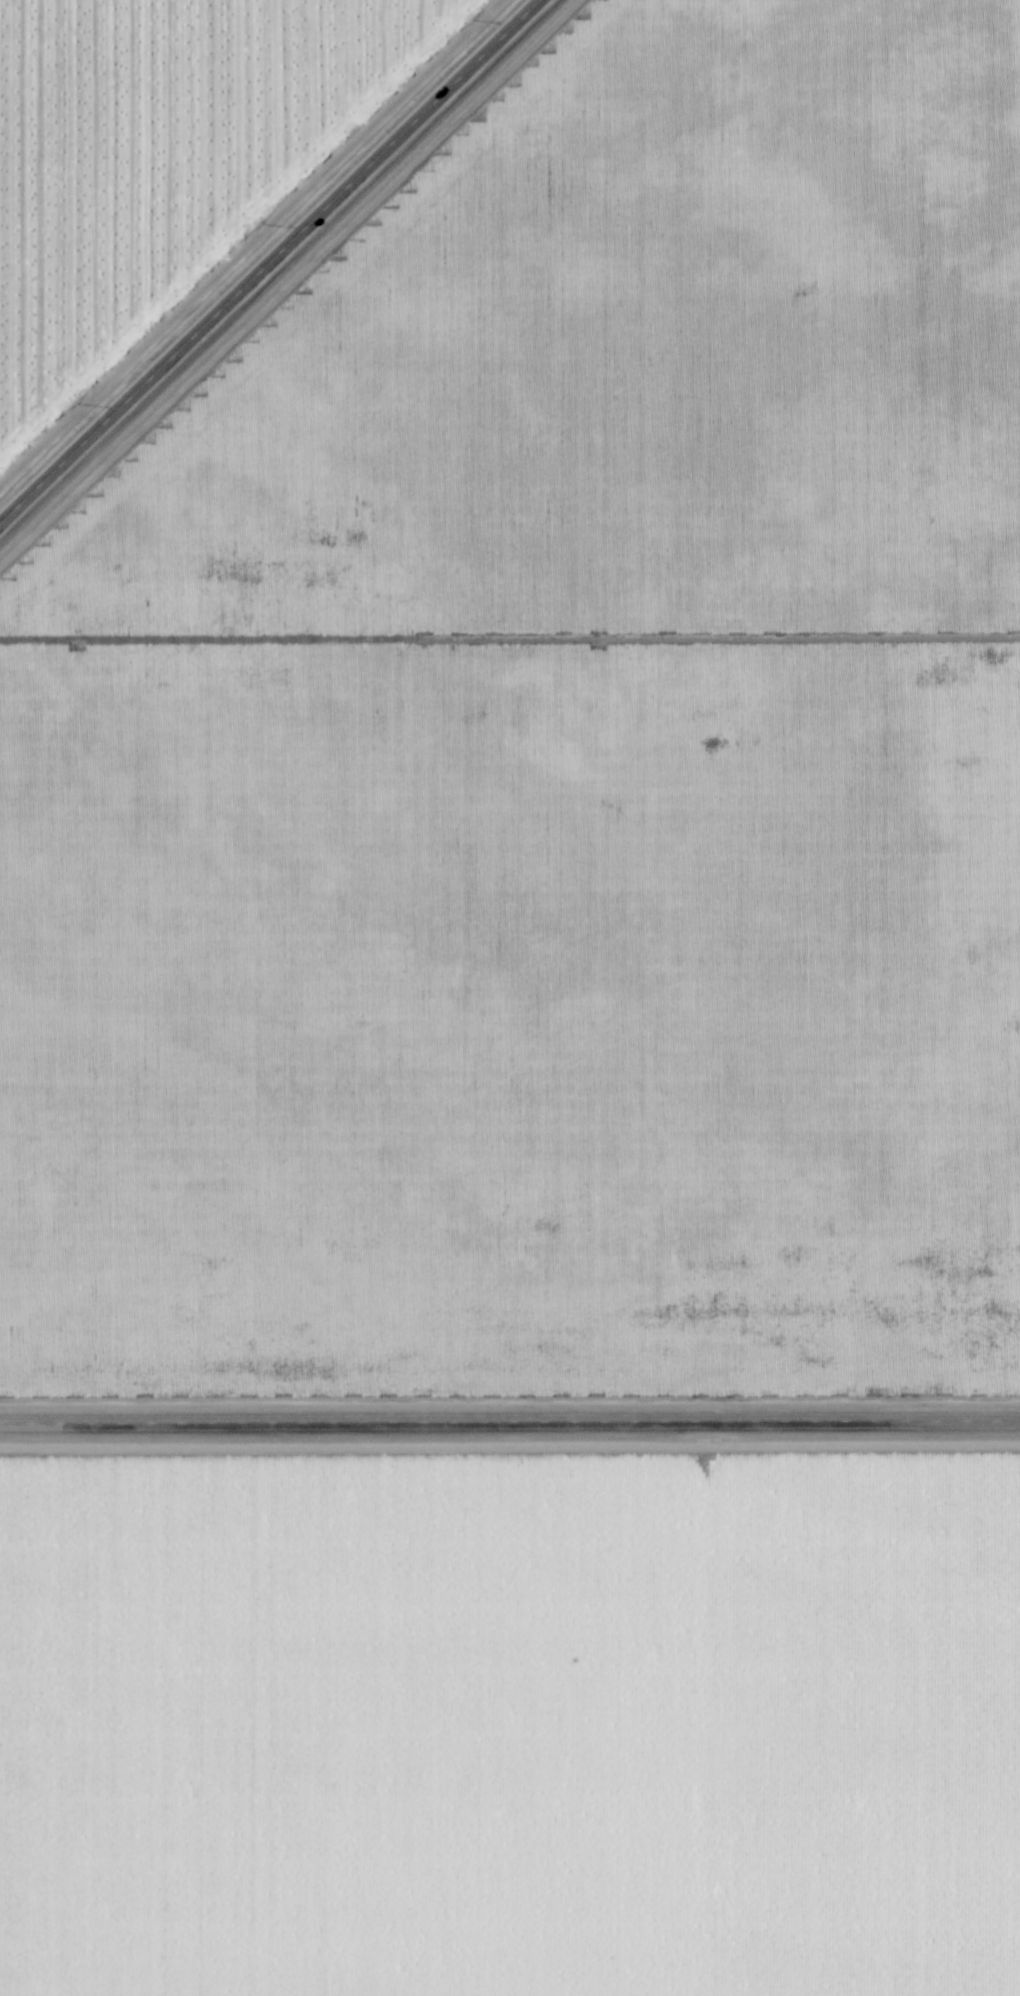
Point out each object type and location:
road: (278, 268)
road: (509, 1430)

